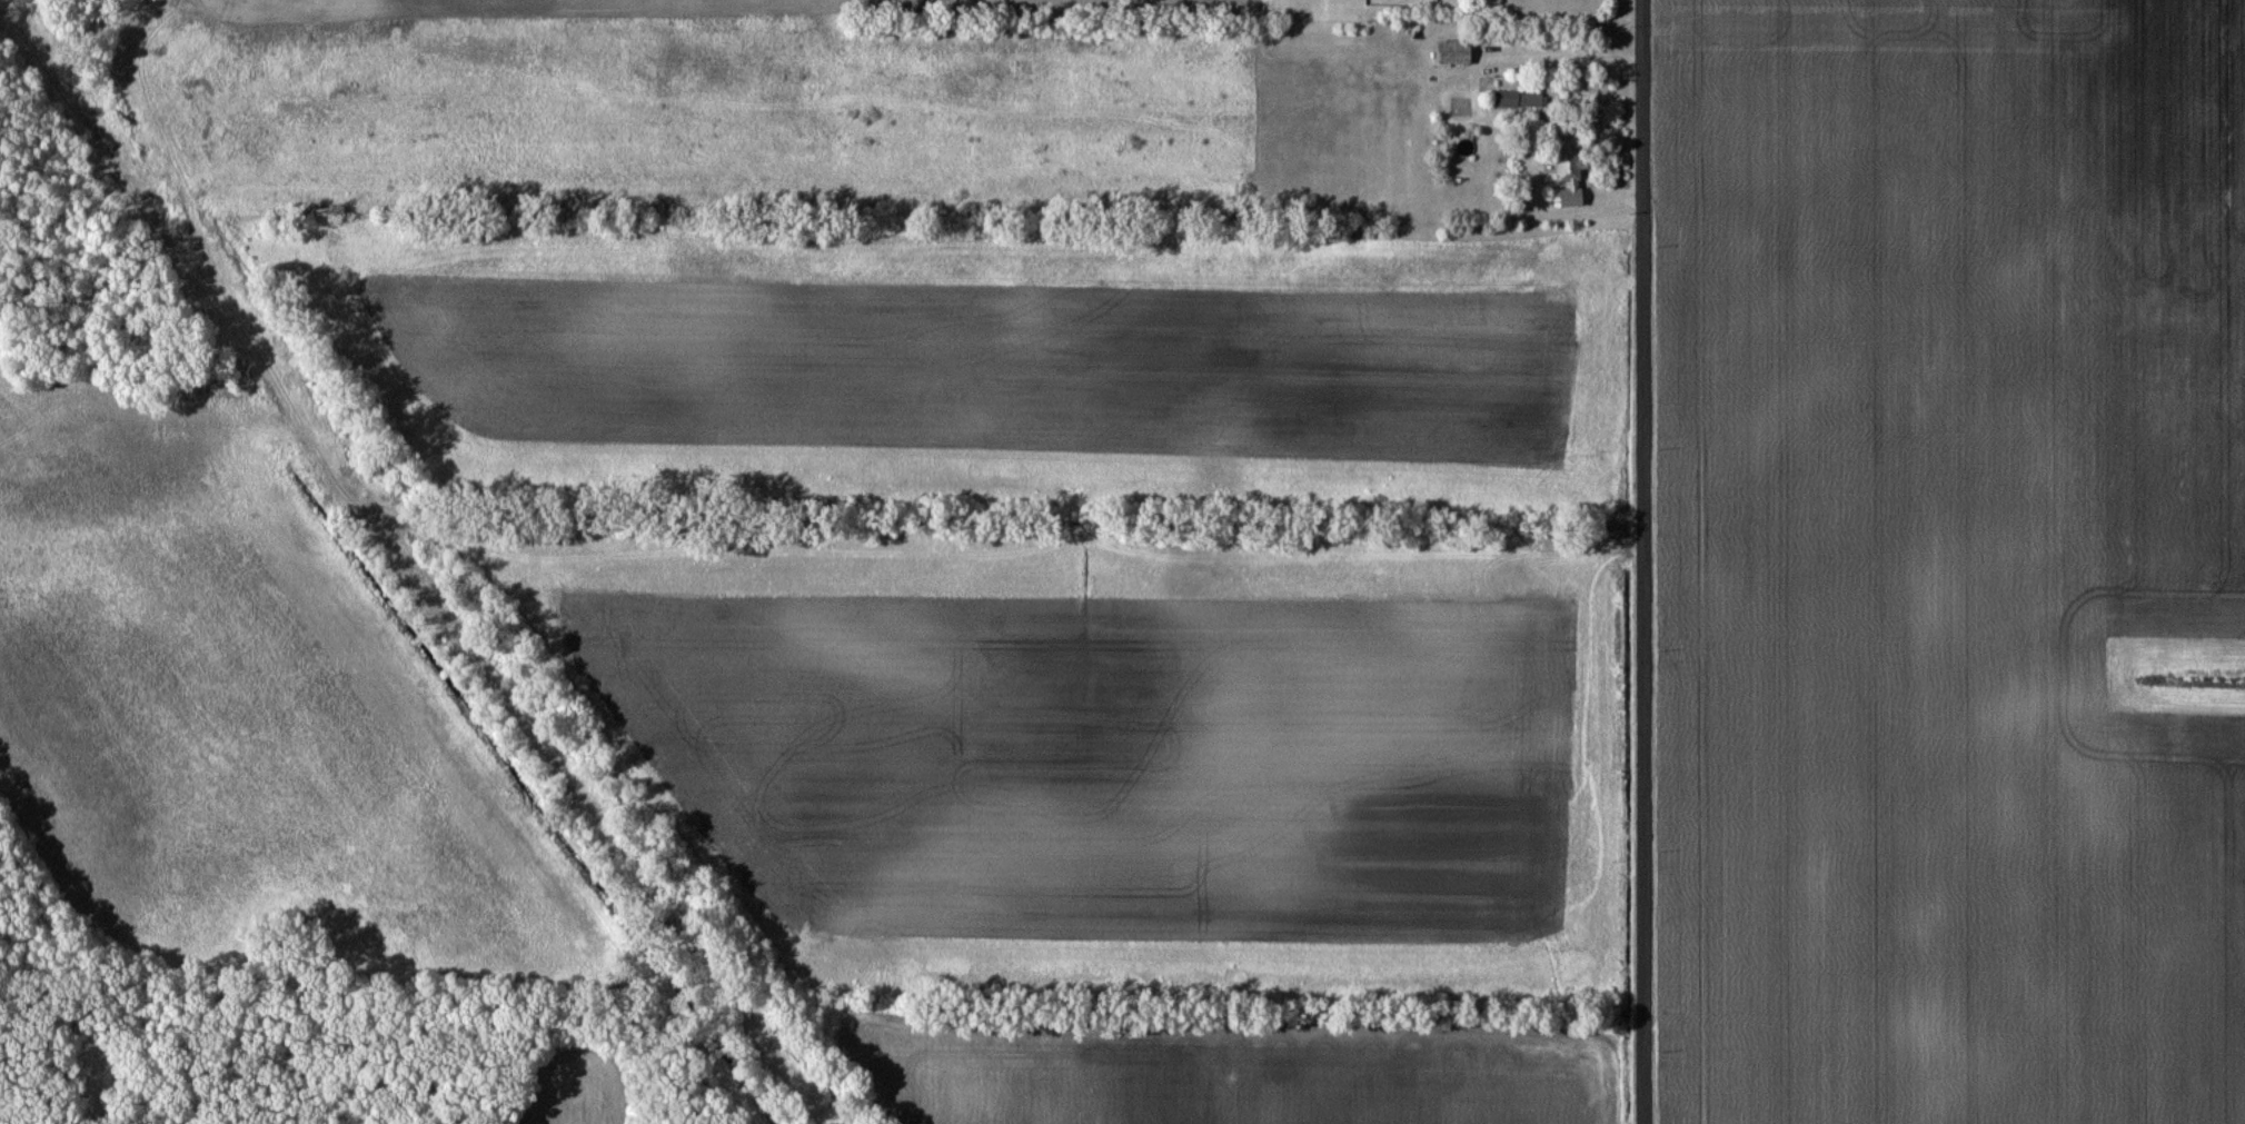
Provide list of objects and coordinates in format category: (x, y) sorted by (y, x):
road: (1572, 49)
building: (1450, 52)
building: (1516, 100)
building: (1564, 177)
road: (1645, 561)

